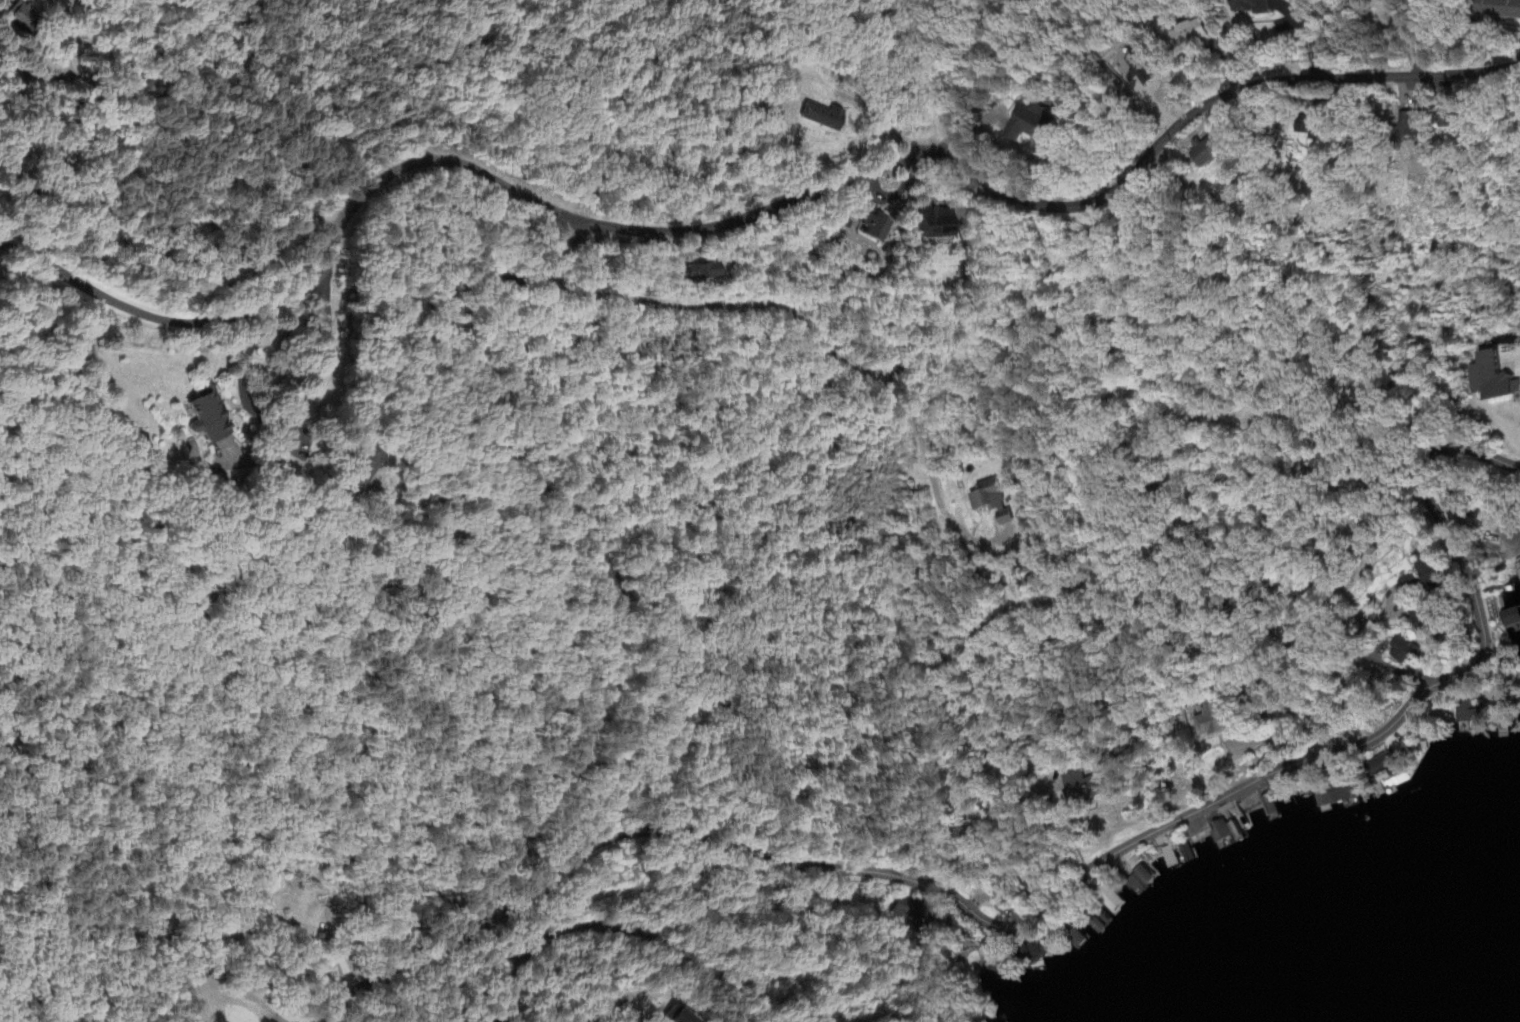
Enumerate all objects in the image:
building: (1258, 6)
building: (1498, 9)
building: (22, 17)
building: (1194, 33)
building: (1139, 69)
building: (820, 117)
building: (1449, 119)
building: (1028, 123)
building: (1411, 125)
building: (1315, 127)
road: (174, 135)
building: (1207, 154)
building: (938, 223)
building: (878, 228)
road: (643, 232)
building: (703, 272)
road: (314, 282)
road: (799, 311)
building: (1494, 378)
road: (286, 416)
building: (208, 418)
road: (268, 457)
building: (363, 468)
building: (992, 501)
road: (969, 539)
building: (1428, 573)
building: (1408, 587)
building: (1504, 617)
road: (1337, 645)
building: (1461, 717)
building: (1213, 725)
road: (1009, 780)
building: (1087, 787)
building: (1338, 793)
road: (1135, 796)
building: (1317, 800)
building: (1216, 833)
road: (1057, 901)
building: (913, 917)
road: (615, 926)
road: (503, 944)
building: (989, 953)
road: (511, 1012)
road: (598, 1018)

